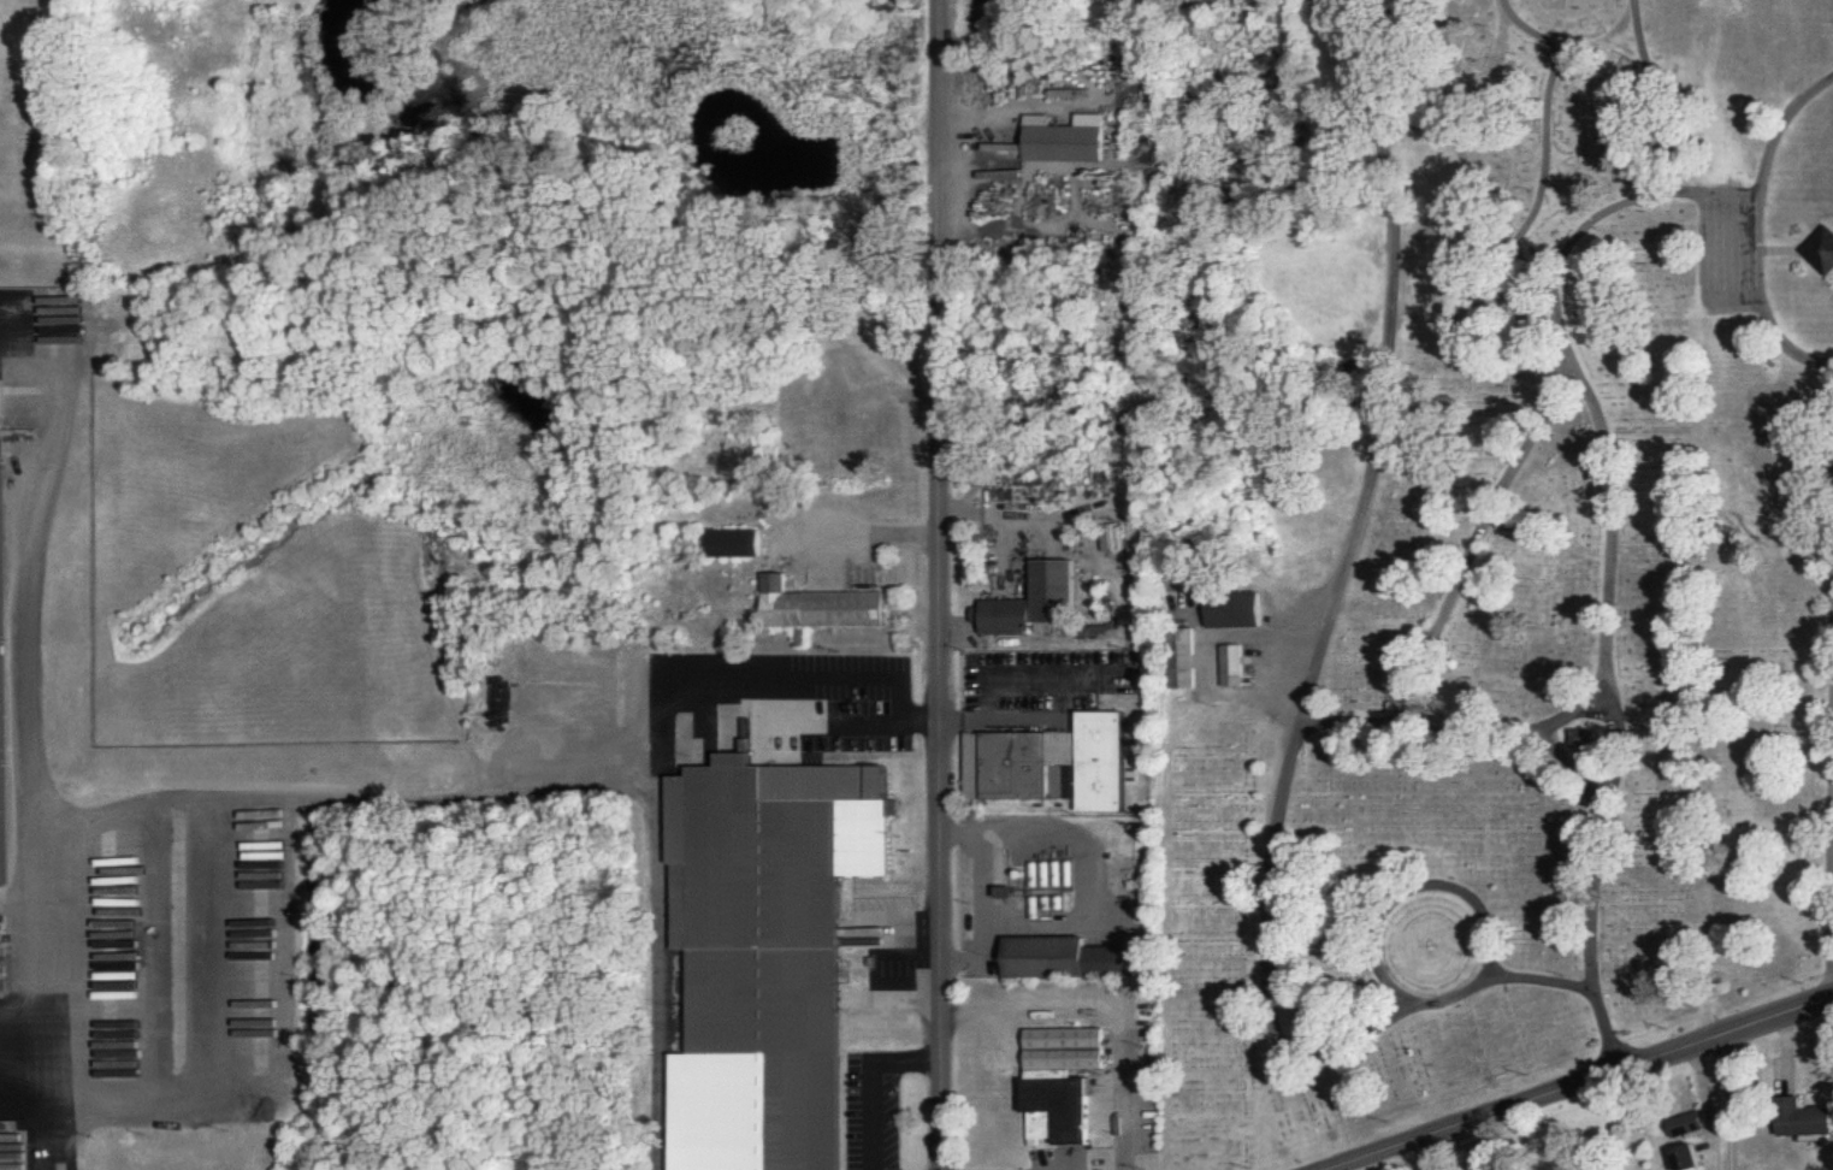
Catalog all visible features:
road: (1030, 100)
building: (1063, 137)
road: (1760, 237)
building: (1822, 249)
building: (850, 443)
road: (865, 532)
building: (734, 540)
park: (1512, 581)
road: (939, 585)
building: (1035, 599)
building: (818, 605)
building: (1234, 607)
building: (1178, 654)
building: (0, 655)
building: (1230, 662)
road: (26, 669)
road: (1829, 676)
road: (999, 684)
road: (759, 701)
road: (1295, 725)
building: (1049, 761)
road: (660, 876)
road: (1408, 886)
building: (764, 952)
building: (1068, 955)
road: (1104, 1010)
building: (1059, 1079)
road: (1577, 1081)
road: (11, 1092)
road: (1732, 1098)
building: (1807, 1118)
building: (1687, 1121)
building: (1687, 1154)

